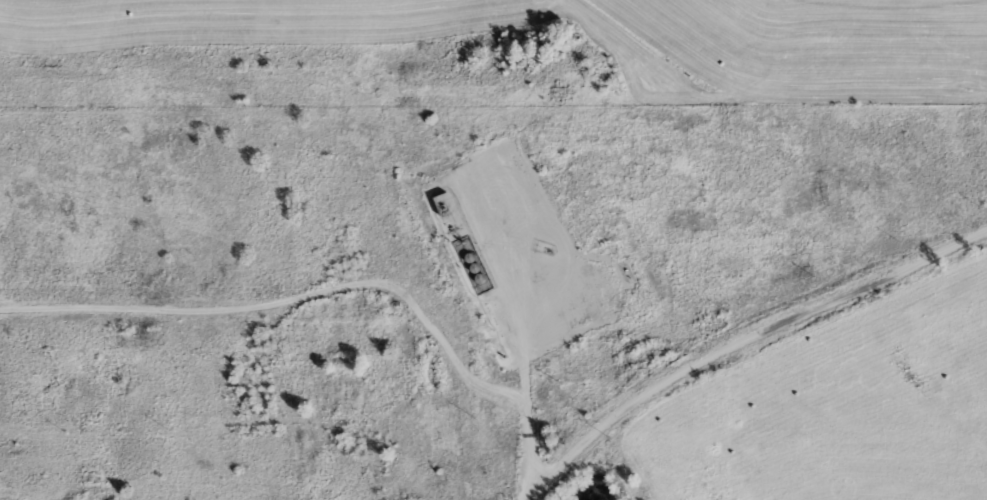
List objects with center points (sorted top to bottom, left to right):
road: (214, 314)
road: (741, 343)
road: (495, 389)

